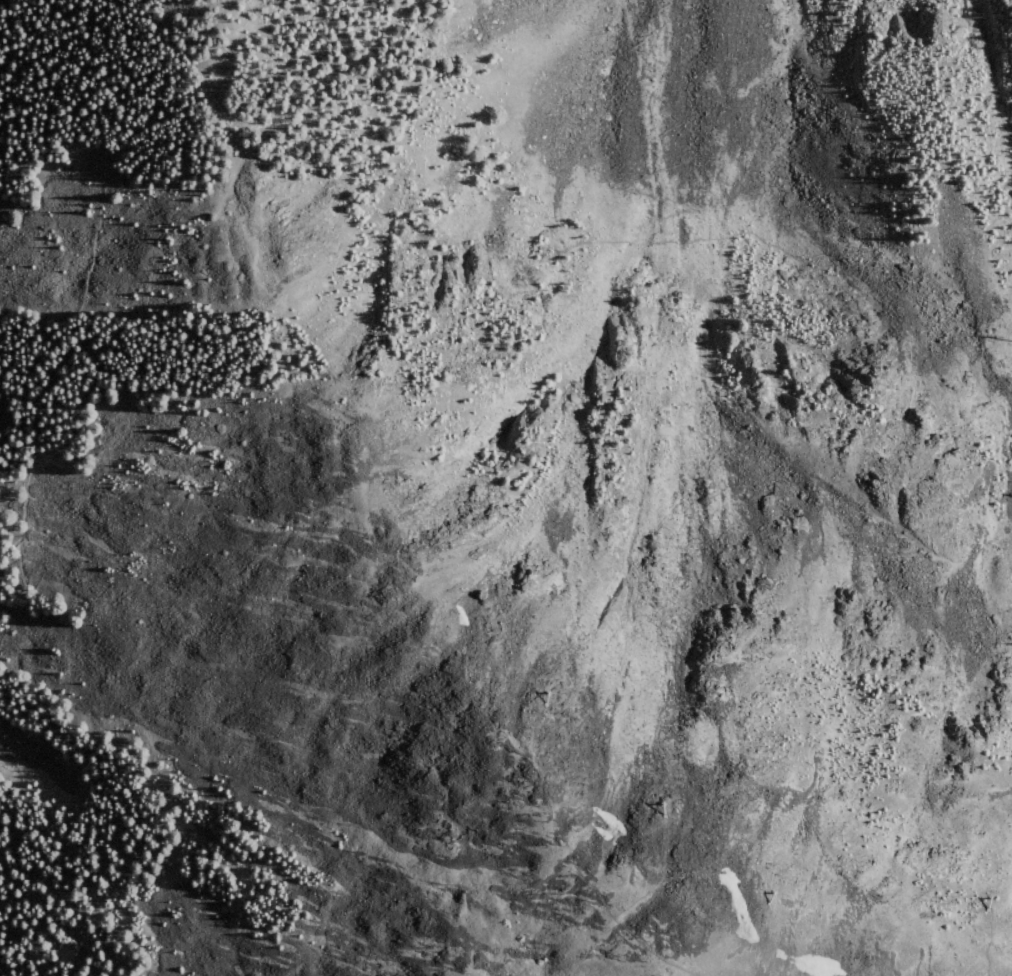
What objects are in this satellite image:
ski resort: (701, 428)

